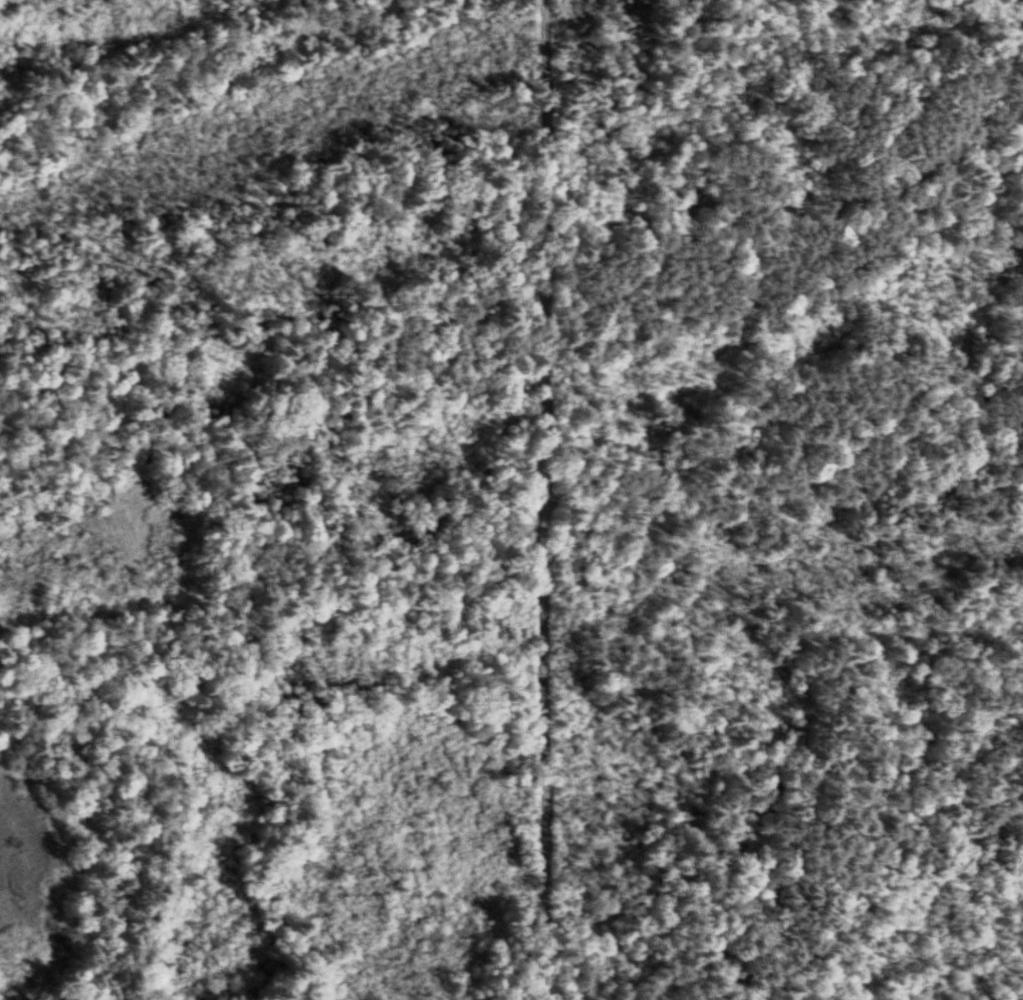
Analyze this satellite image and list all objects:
road: (545, 500)

